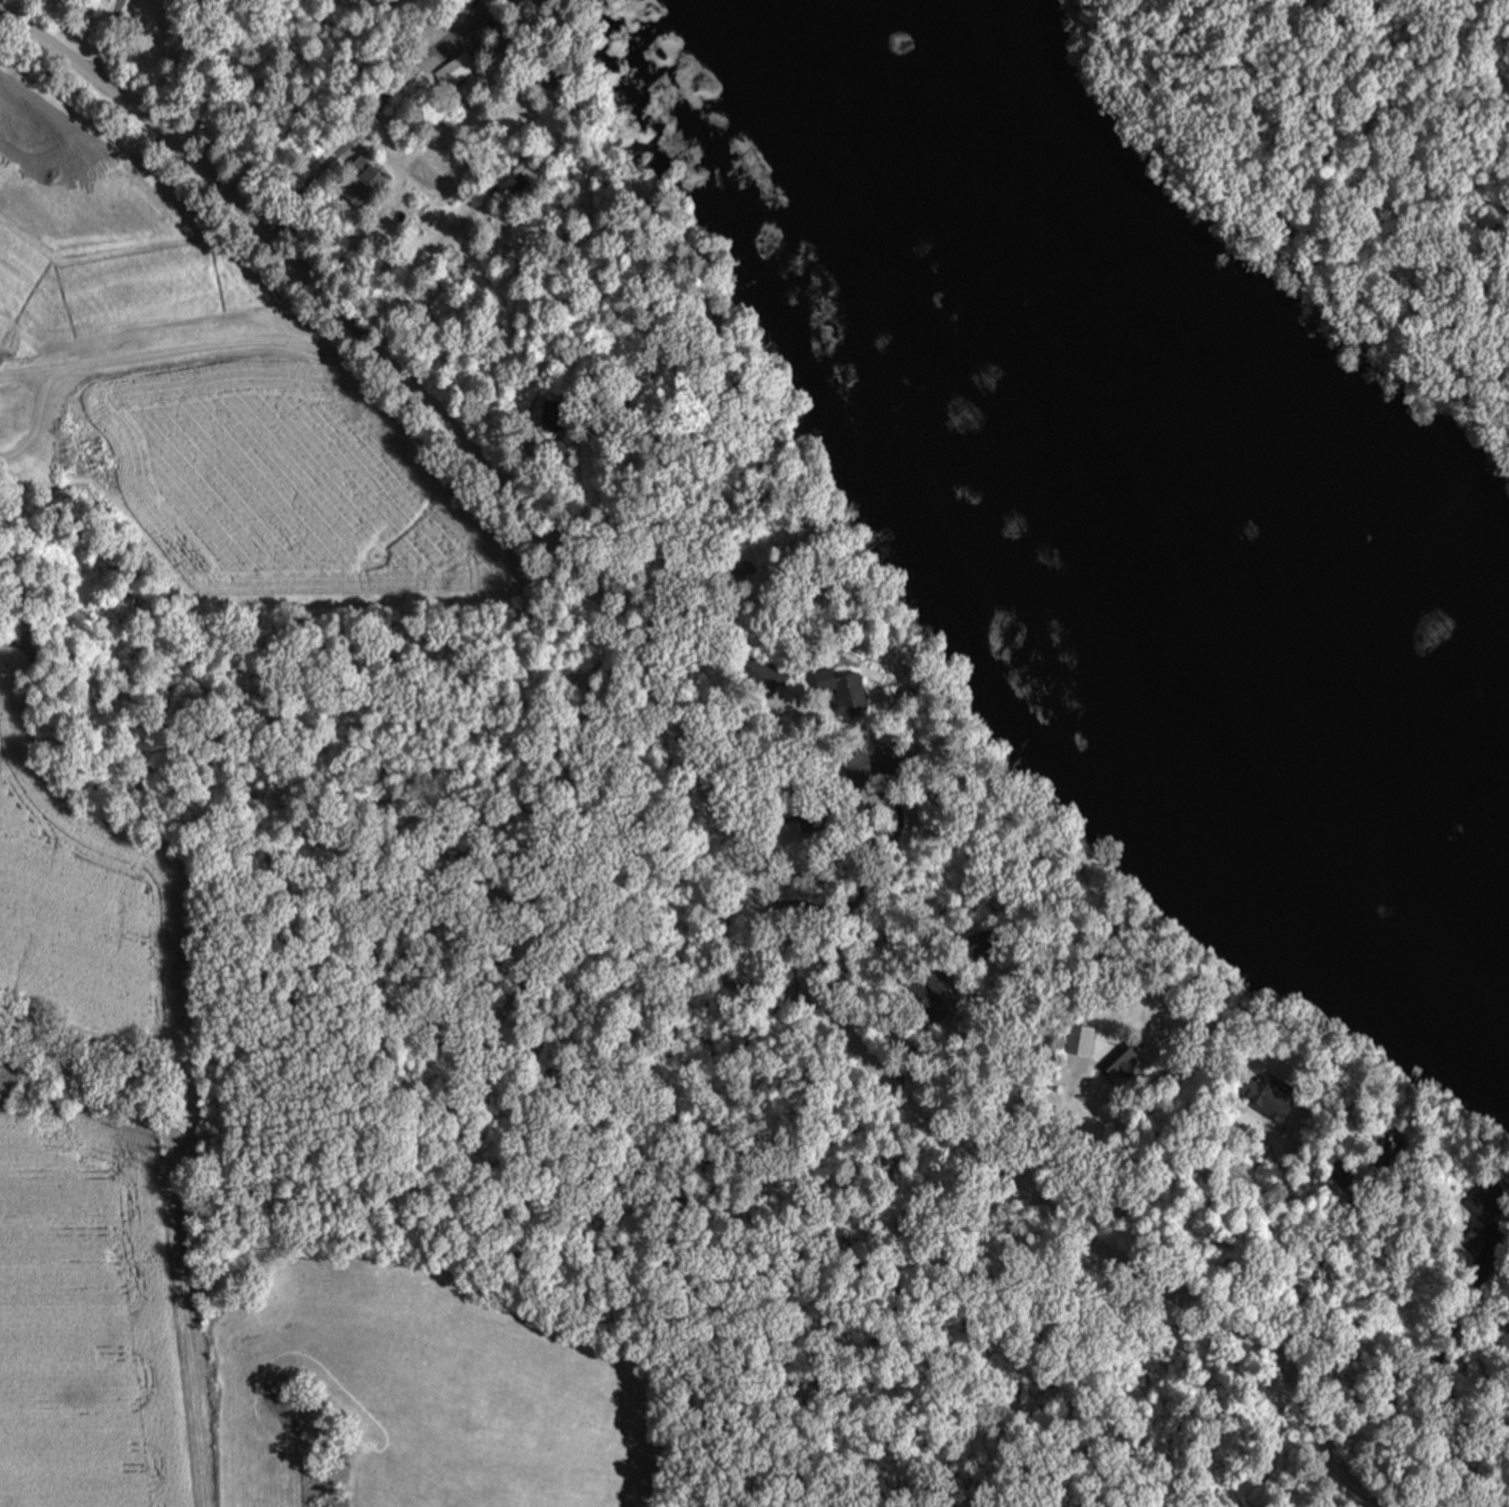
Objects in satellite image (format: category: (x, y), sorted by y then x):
building: (517, 1)
building: (524, 1)
road: (104, 39)
building: (453, 70)
road: (215, 78)
road: (255, 82)
road: (307, 96)
road: (369, 120)
building: (362, 185)
building: (514, 185)
road: (418, 254)
building: (657, 255)
building: (701, 320)
building: (552, 413)
building: (555, 450)
river: (1106, 457)
road: (539, 480)
road: (661, 499)
building: (749, 561)
road: (713, 617)
building: (748, 671)
building: (843, 688)
road: (810, 741)
building: (875, 758)
road: (698, 769)
road: (897, 820)
building: (811, 824)
road: (869, 826)
building: (956, 960)
building: (1074, 1039)
road: (921, 1042)
building: (1114, 1059)
building: (1272, 1074)
road: (1056, 1139)
building: (1378, 1156)
building: (1338, 1175)
building: (1483, 1204)
road: (1287, 1216)
building: (1477, 1240)
road: (1312, 1269)
road: (177, 1272)
road: (1432, 1370)

